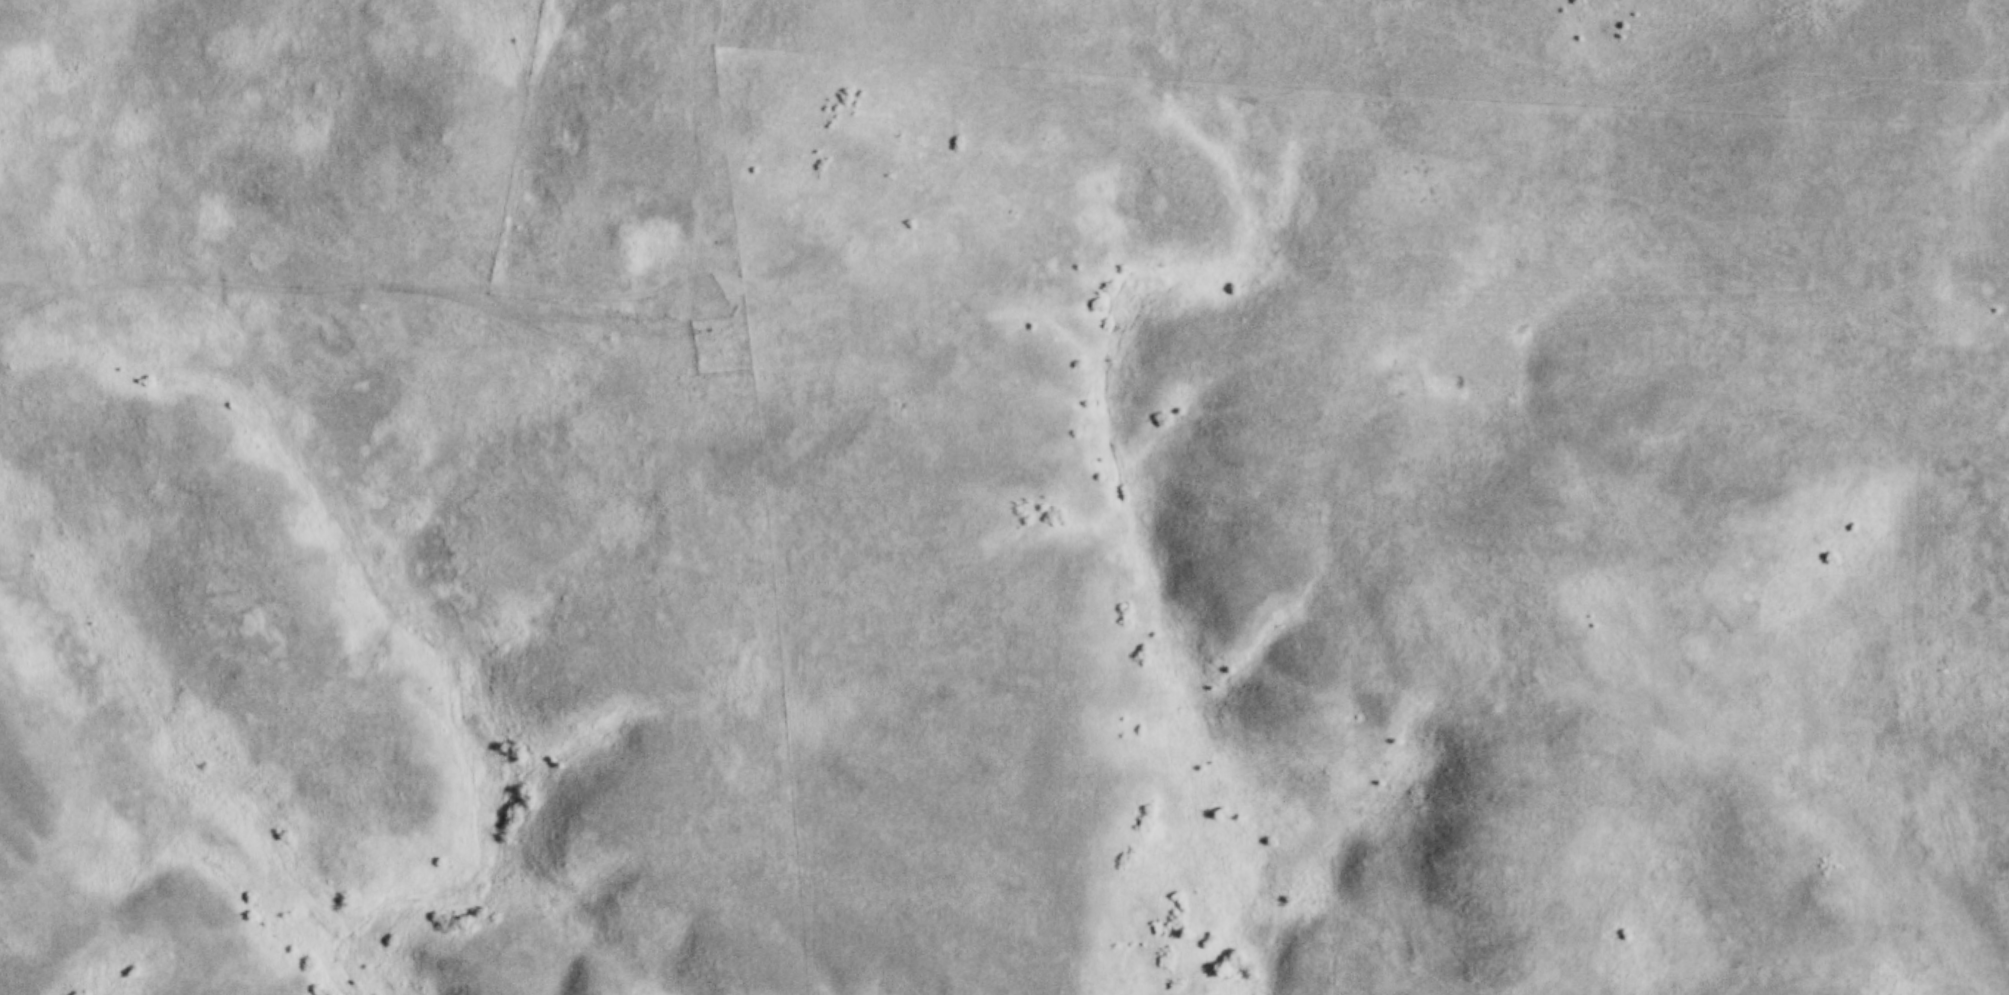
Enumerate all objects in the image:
road: (329, 265)

